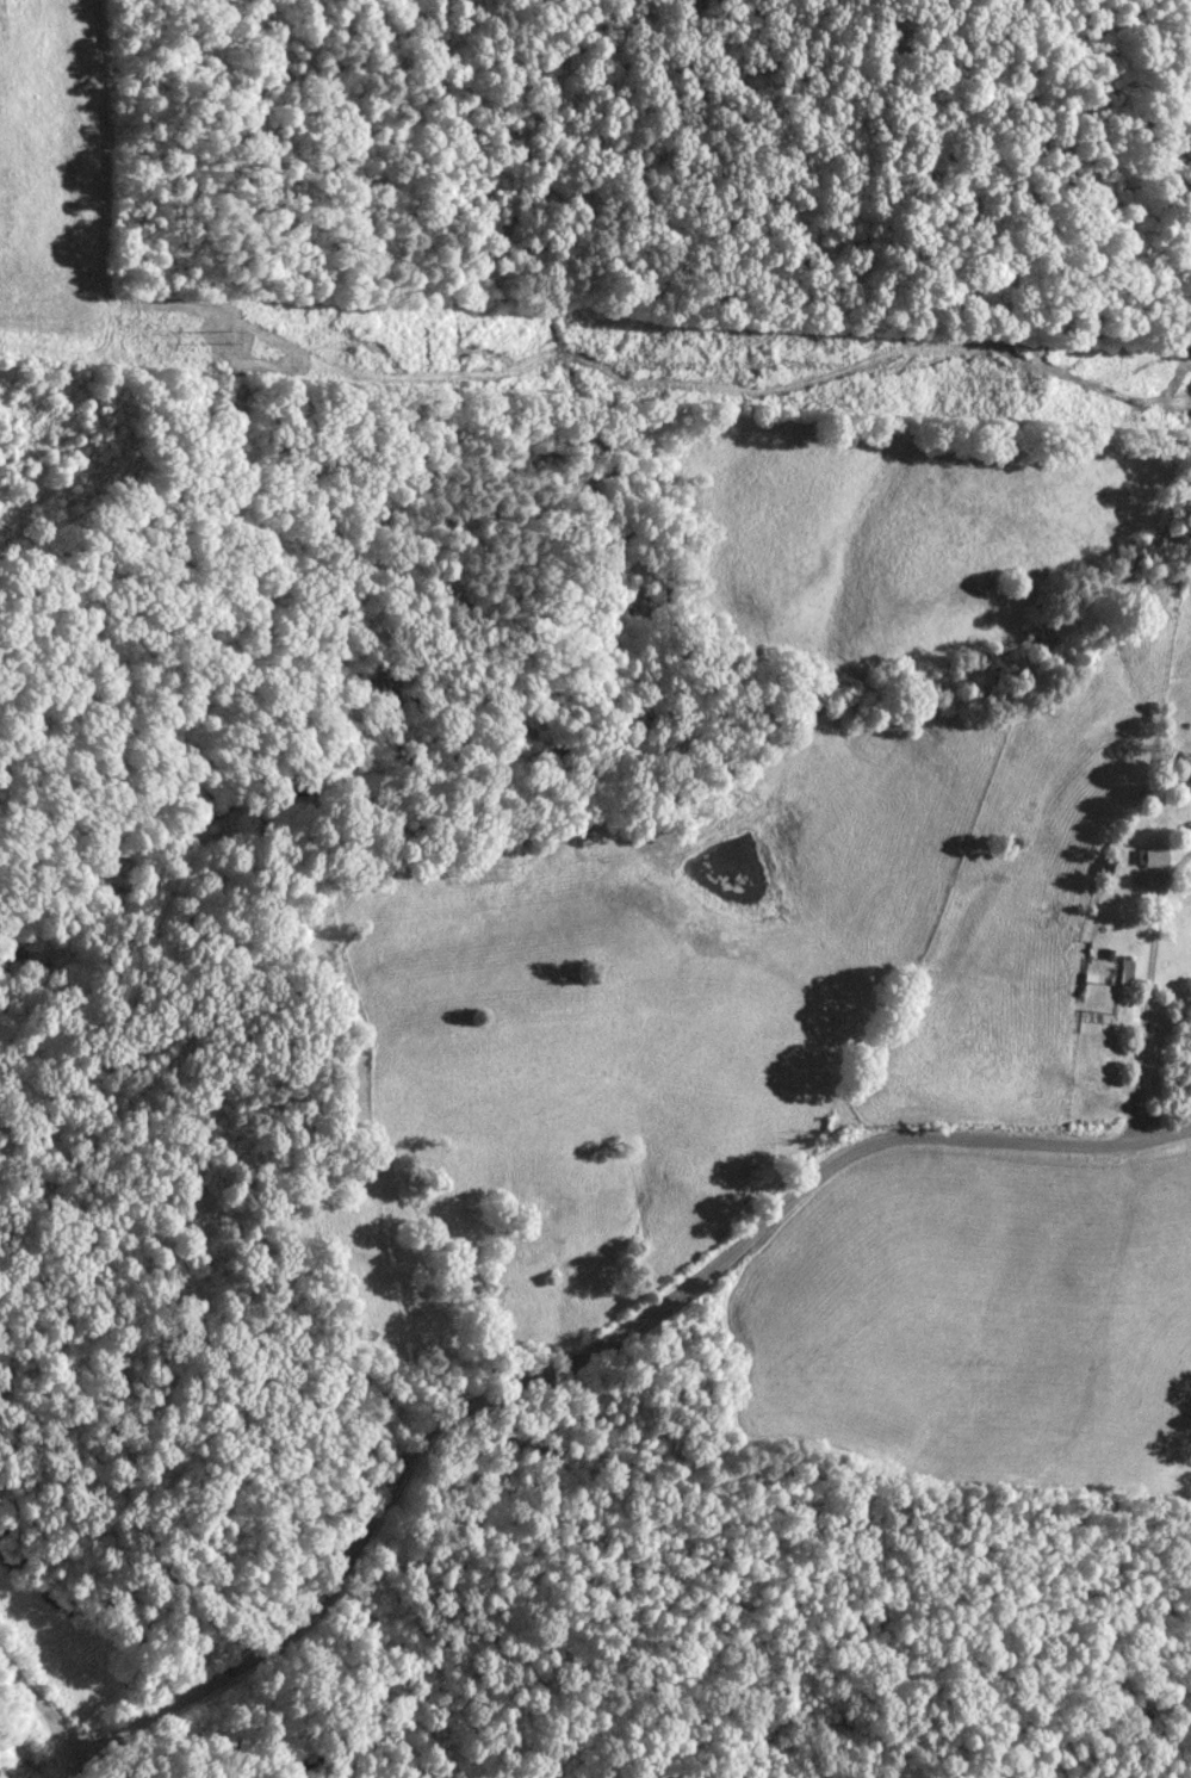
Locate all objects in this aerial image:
power tower: (232, 337)
power tower: (1038, 383)
building: (1160, 856)
building: (1129, 972)
road: (1146, 990)
road: (588, 1339)
road: (38, 1714)
road: (70, 1764)

